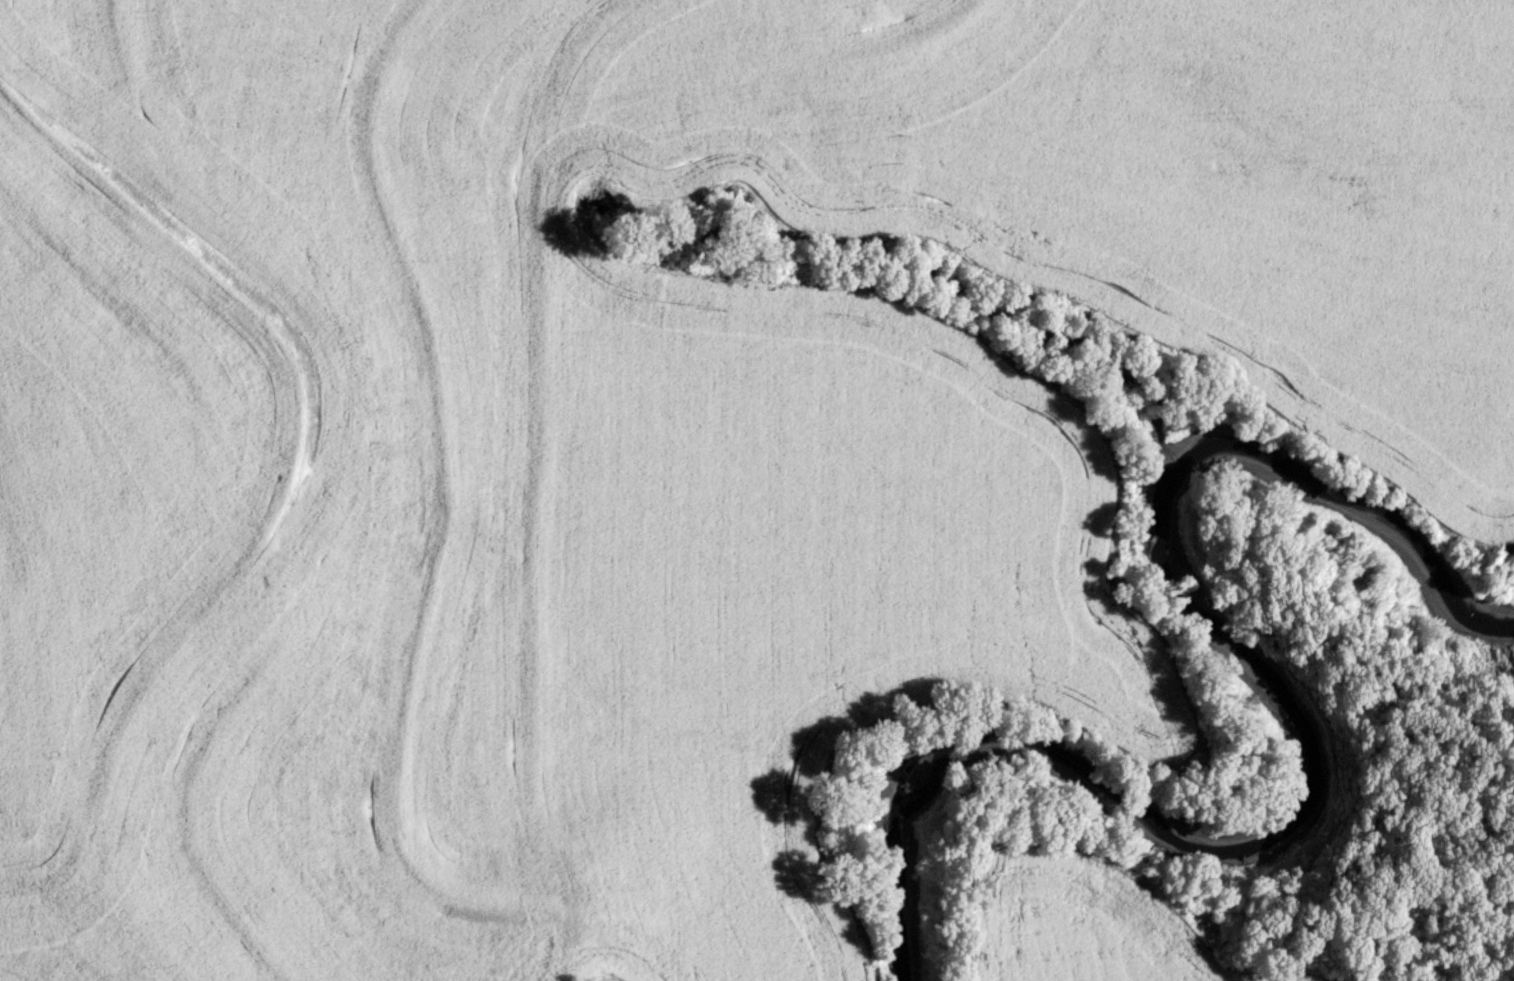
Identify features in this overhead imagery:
river: (1278, 721)

